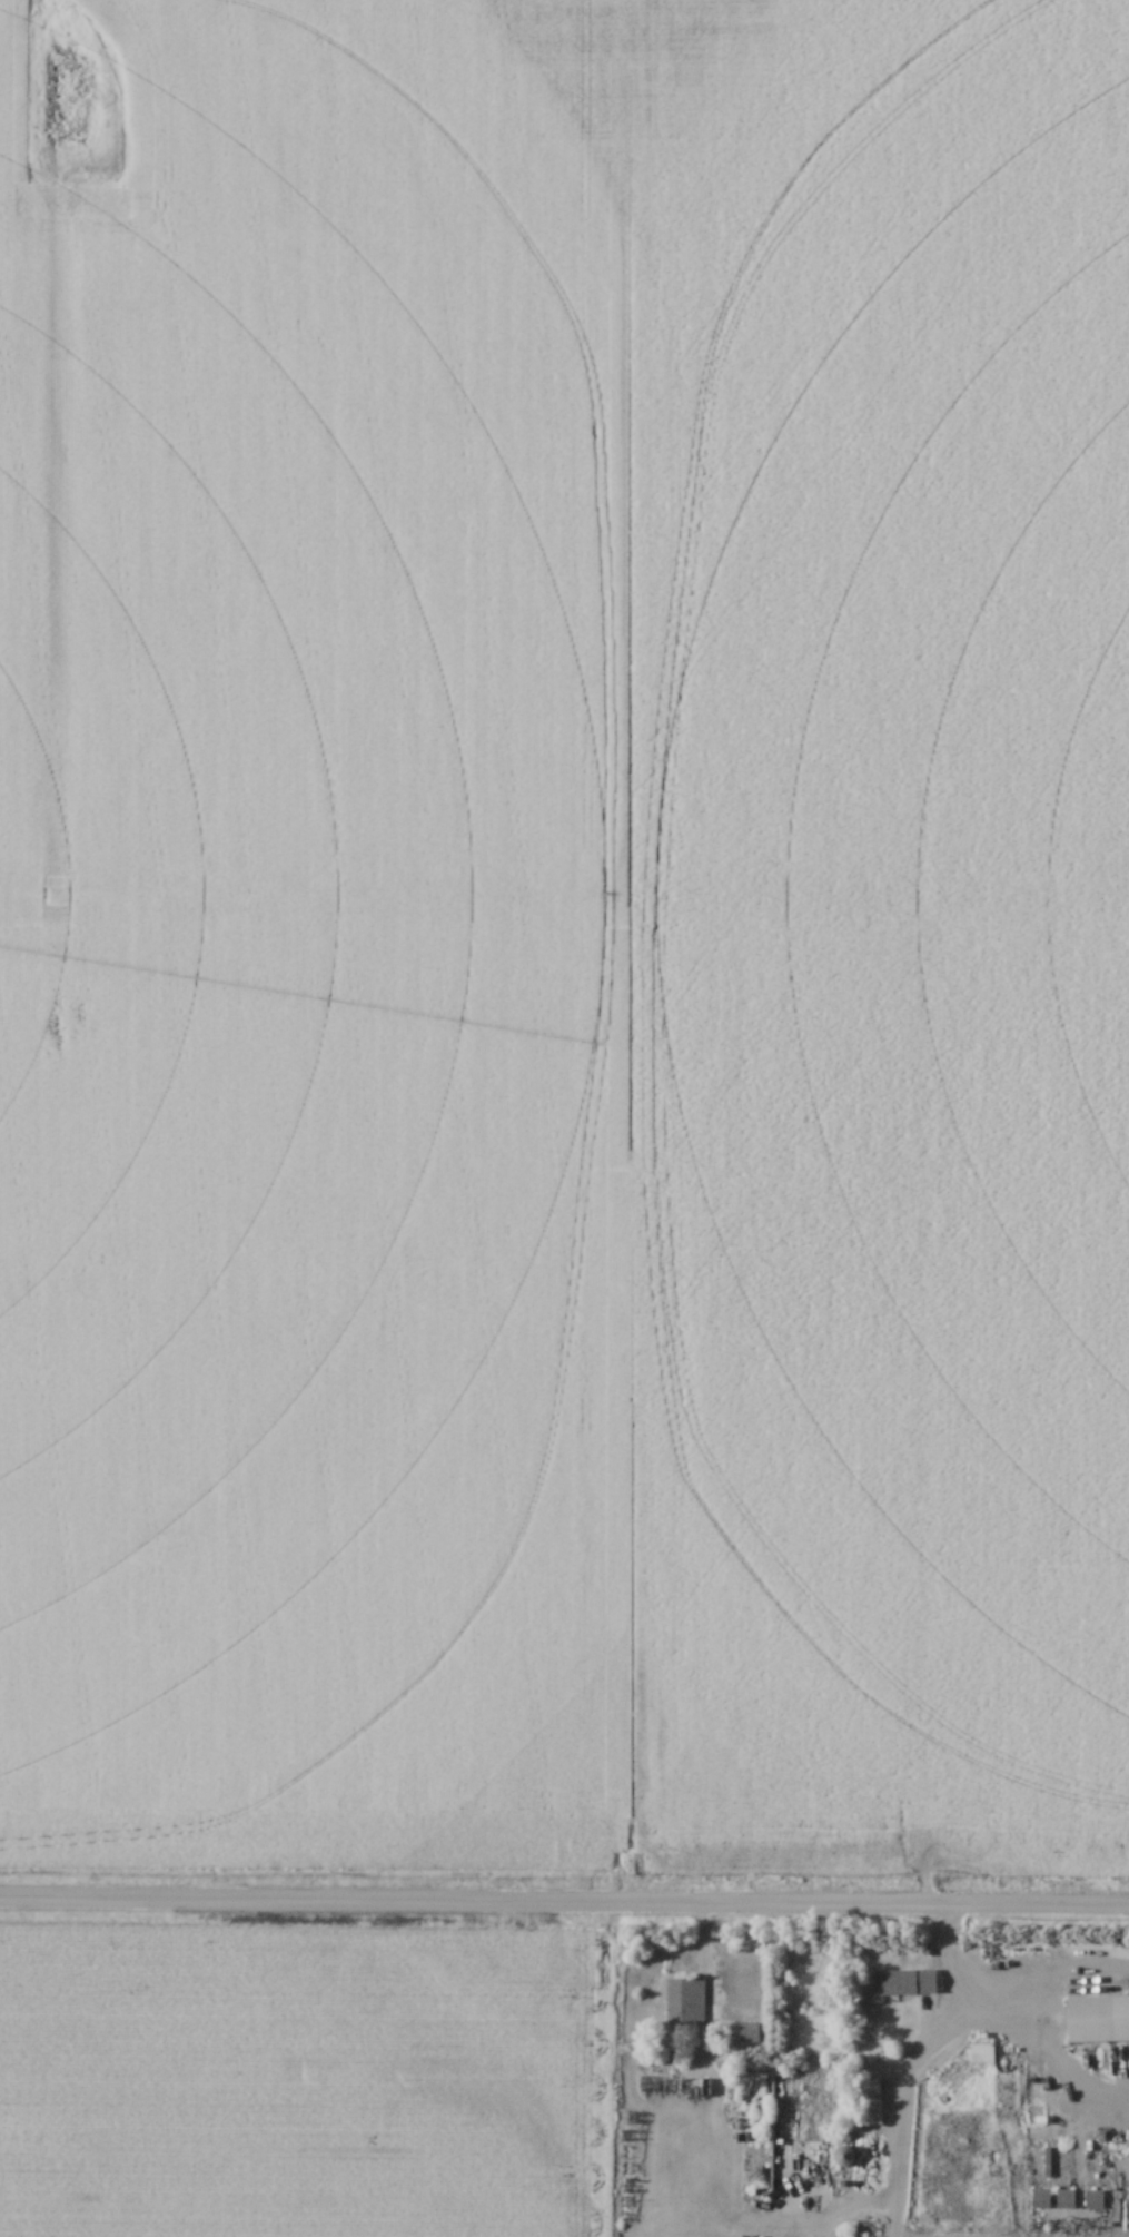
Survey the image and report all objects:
road: (564, 1904)
building: (905, 1982)
building: (686, 2002)
building: (1098, 2019)
road: (935, 2028)
building: (982, 2054)
building: (870, 2102)
building: (844, 2157)
building: (1041, 2200)
building: (1066, 2200)
building: (1095, 2200)

